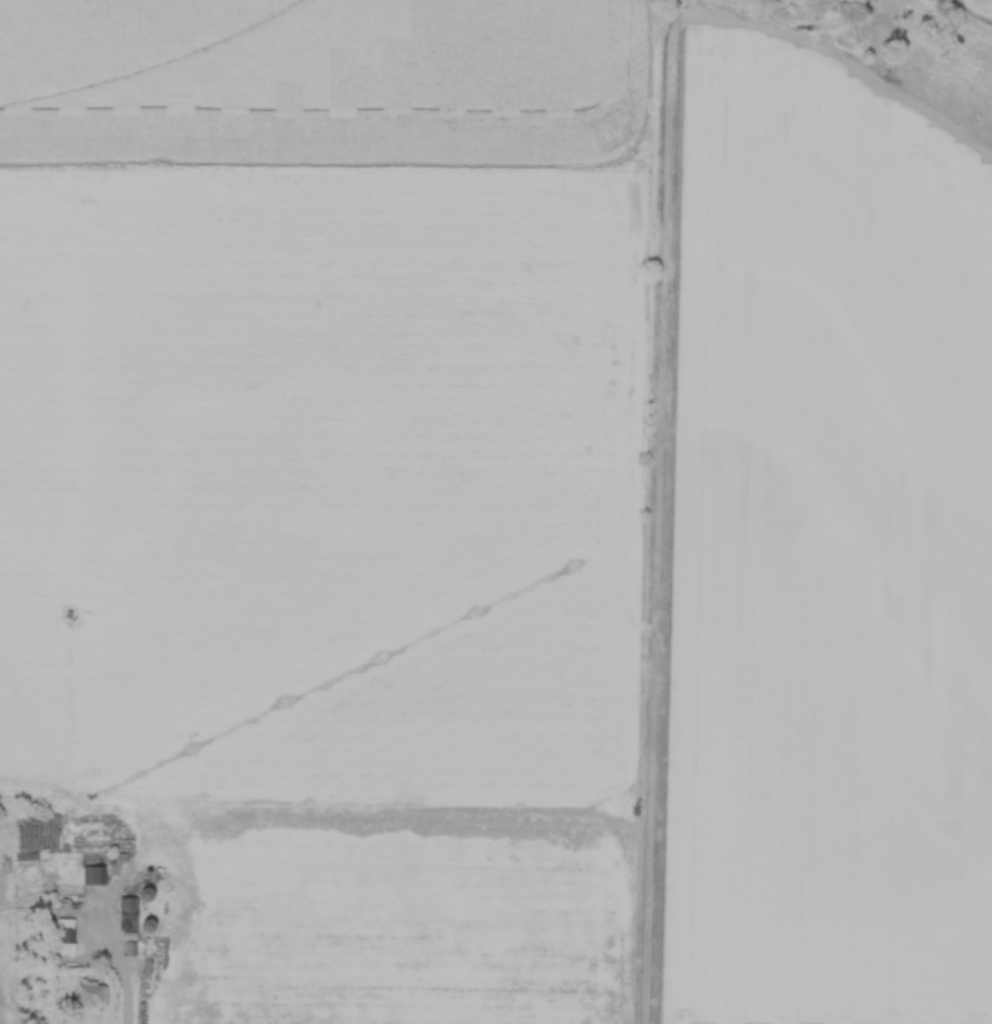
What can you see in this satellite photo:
building: (28, 857)
building: (94, 875)
building: (128, 913)
building: (66, 936)
road: (116, 970)
building: (92, 993)

